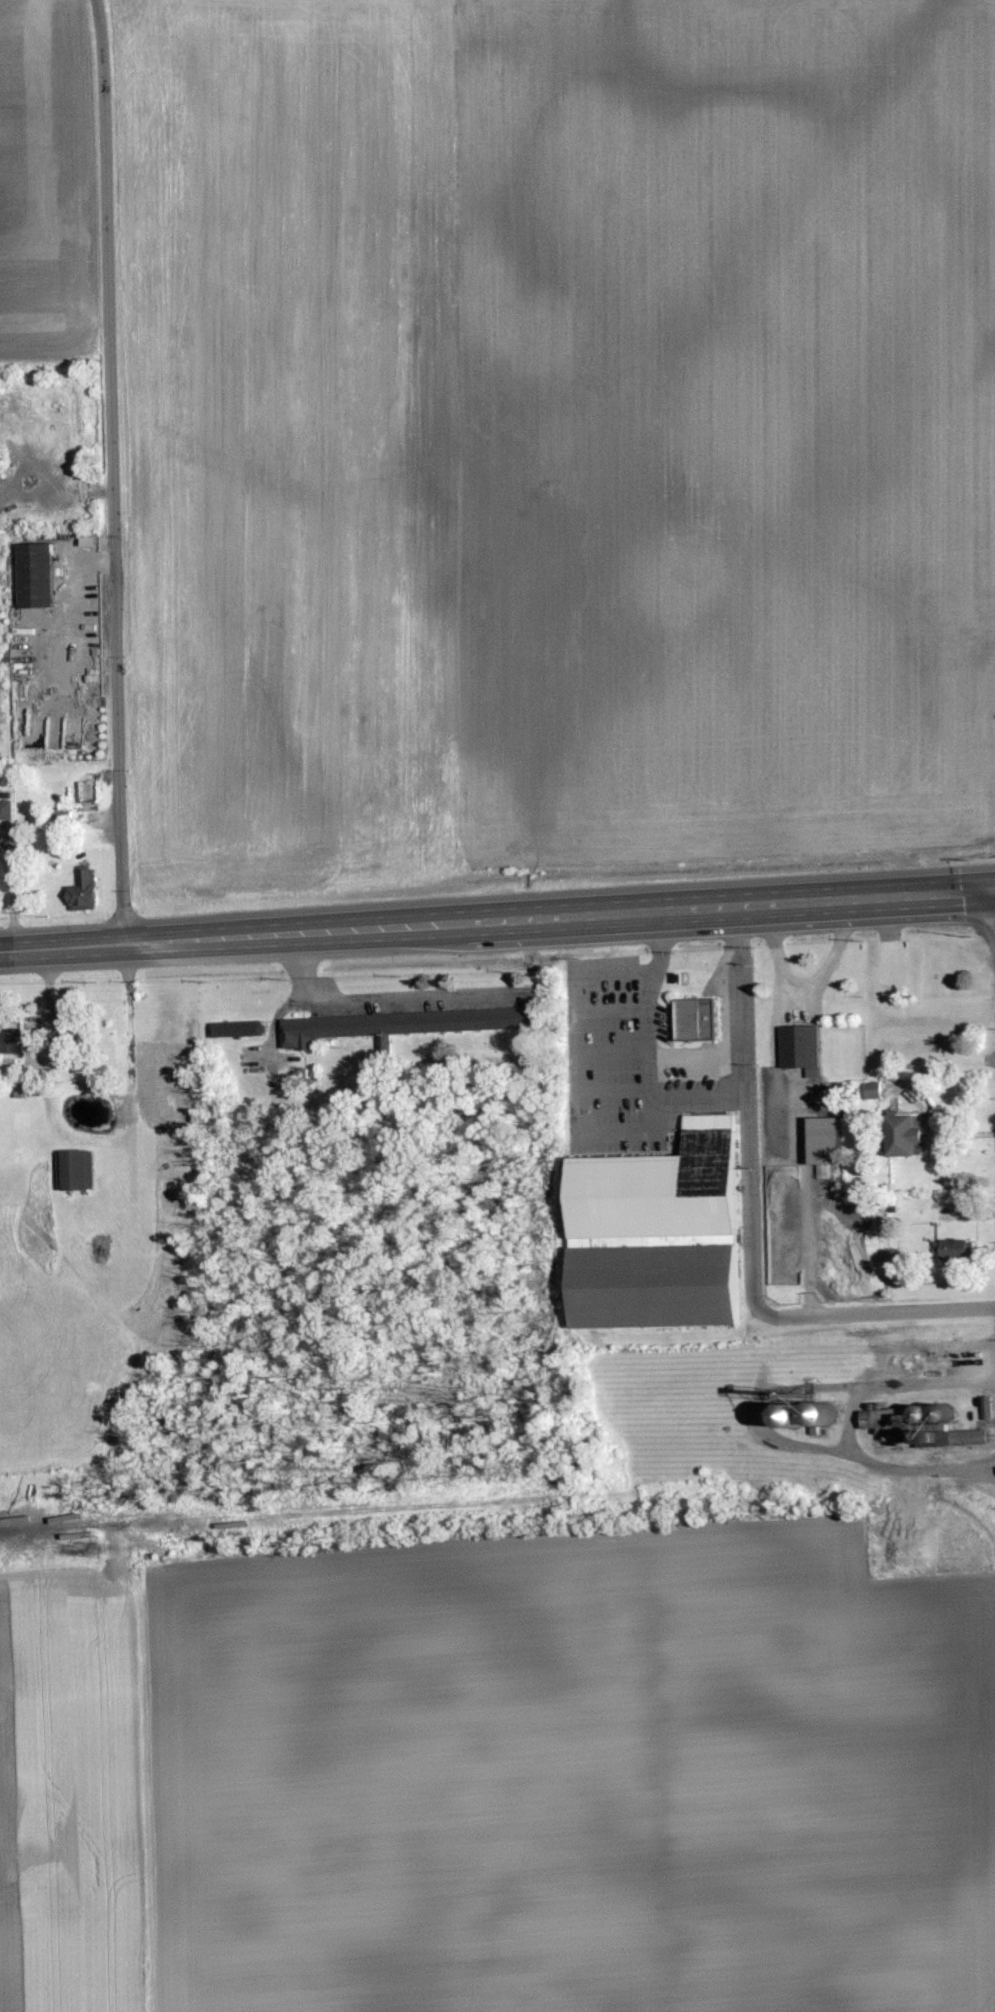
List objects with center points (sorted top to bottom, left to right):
road: (113, 471)
road: (2, 498)
building: (32, 575)
road: (70, 595)
building: (6, 811)
road: (13, 889)
building: (82, 892)
road: (497, 921)
road: (657, 944)
road: (609, 975)
road: (807, 981)
road: (383, 999)
road: (610, 1007)
building: (693, 1019)
building: (401, 1025)
building: (236, 1030)
building: (11, 1037)
road: (609, 1049)
building: (799, 1049)
road: (41, 1057)
road: (647, 1084)
building: (873, 1090)
road: (614, 1101)
road: (937, 1126)
building: (901, 1134)
building: (820, 1141)
road: (798, 1142)
building: (73, 1170)
building: (661, 1189)
road: (746, 1229)
building: (939, 1244)
building: (656, 1287)
building: (806, 1414)
building: (879, 1419)
road: (857, 1422)
building: (919, 1428)

